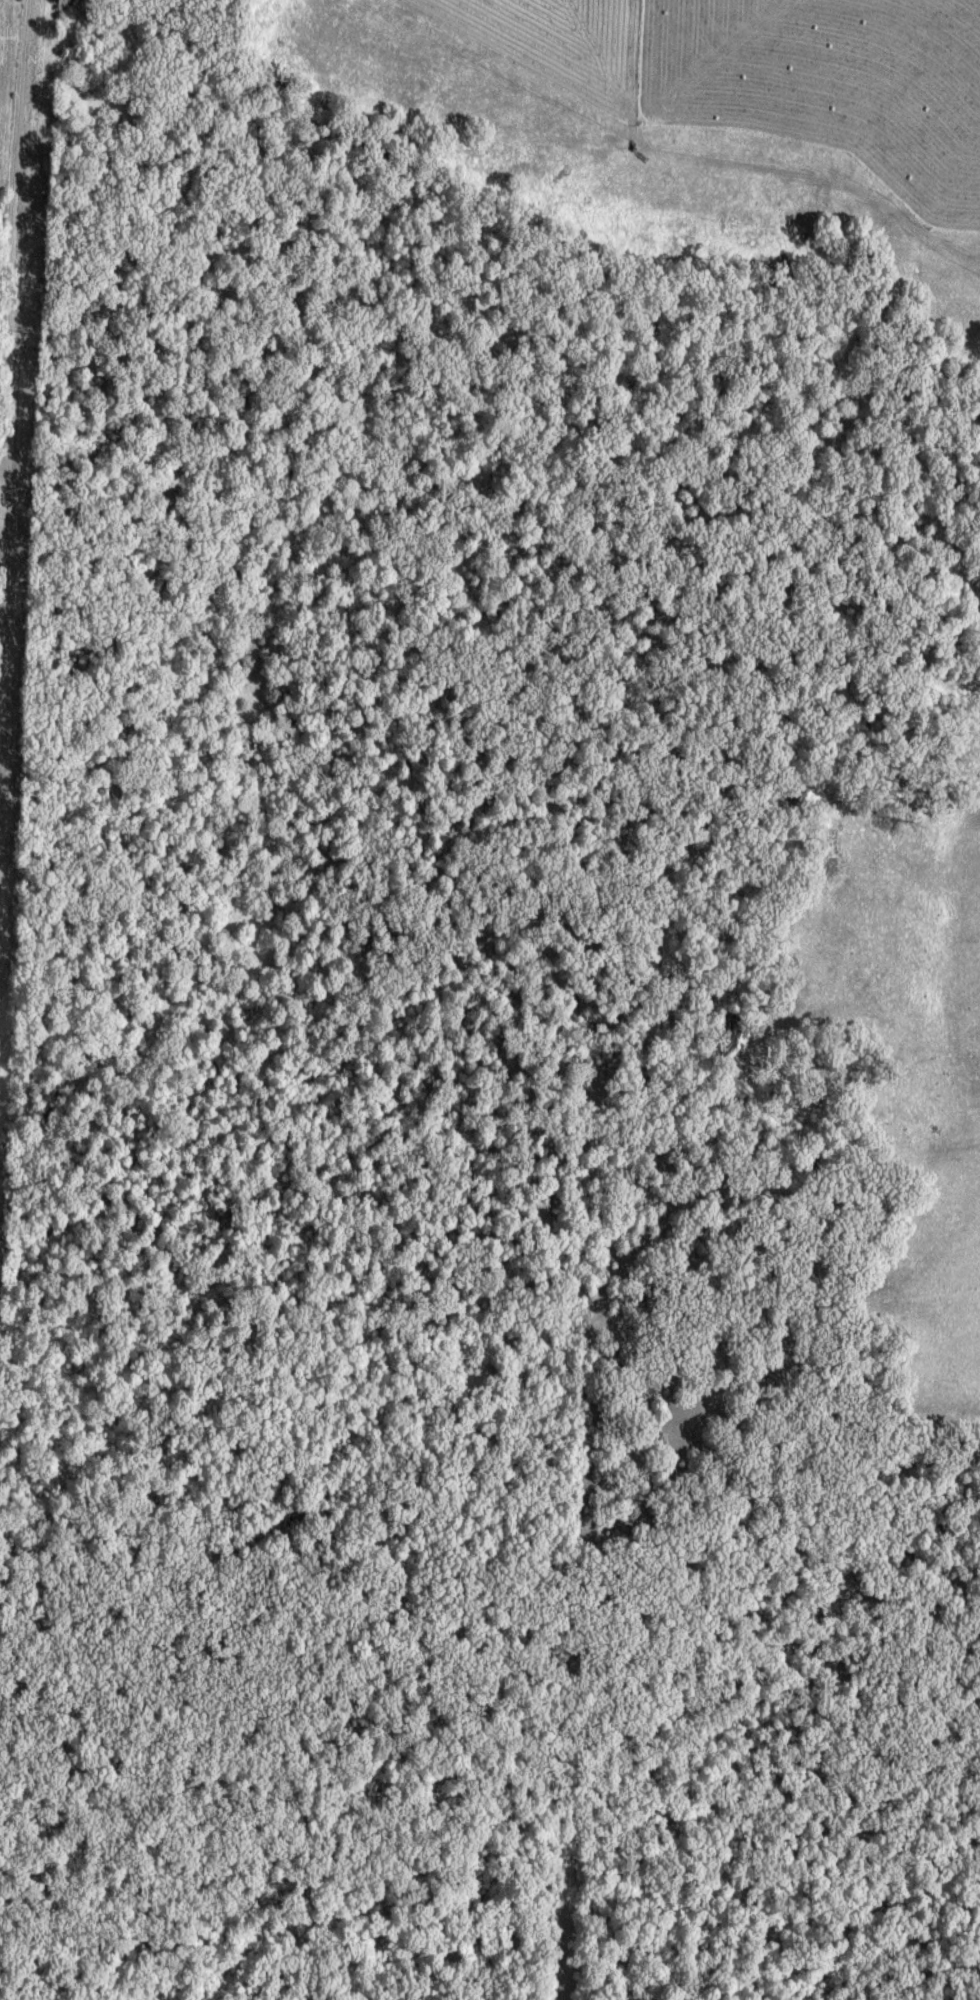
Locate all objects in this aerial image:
road: (14, 528)
road: (7, 536)
building: (1, 1606)

